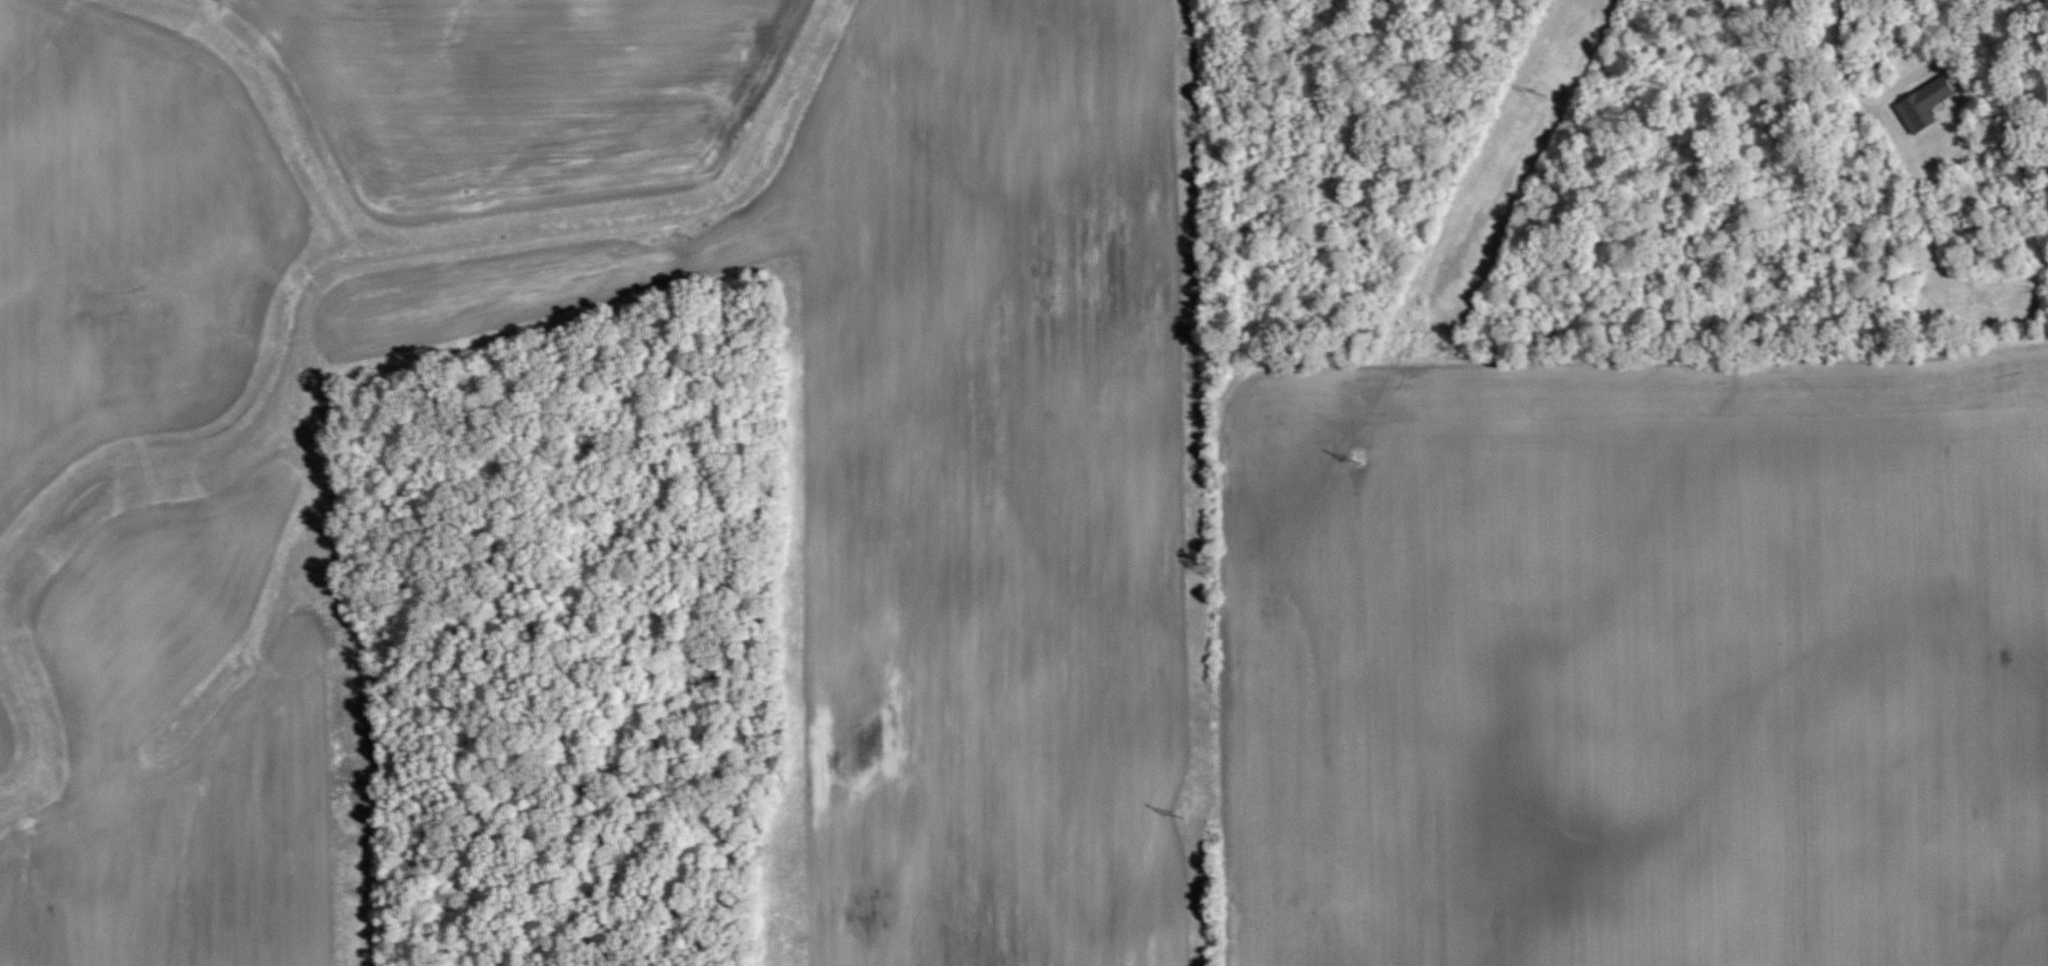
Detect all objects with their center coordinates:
power tower: (1563, 83)
road: (1852, 84)
building: (1925, 103)
power tower: (1365, 464)
power tower: (1186, 817)

